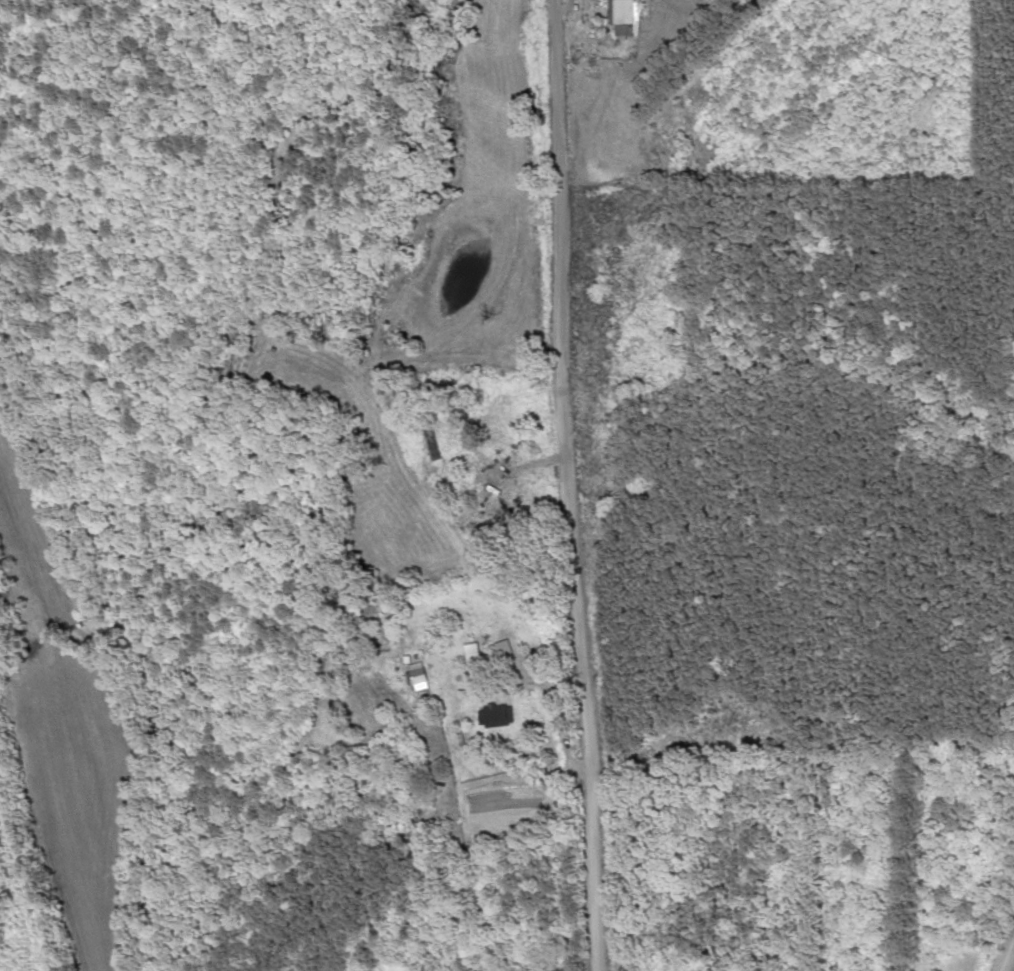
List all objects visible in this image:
building: (622, 16)
building: (425, 440)
road: (573, 485)
building: (416, 679)
building: (491, 714)

